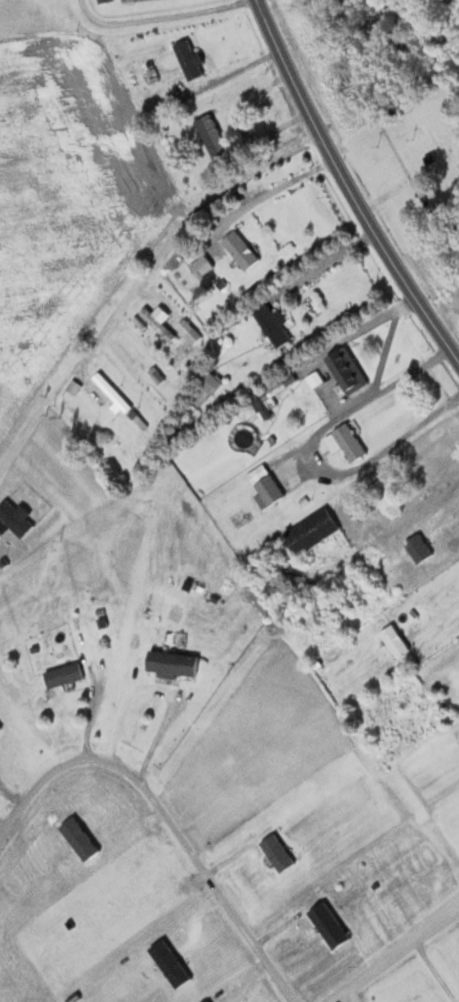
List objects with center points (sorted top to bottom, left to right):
road: (156, 14)
building: (188, 58)
building: (210, 135)
road: (346, 187)
road: (260, 194)
building: (239, 248)
building: (215, 253)
building: (200, 264)
road: (137, 280)
building: (156, 322)
building: (270, 322)
road: (361, 322)
building: (187, 330)
road: (380, 340)
building: (131, 367)
building: (345, 368)
building: (277, 384)
building: (207, 385)
building: (243, 435)
building: (345, 441)
road: (306, 454)
road: (430, 483)
building: (264, 486)
building: (383, 494)
road: (446, 510)
building: (310, 530)
building: (421, 545)
road: (440, 609)
building: (193, 629)
building: (171, 661)
building: (62, 673)
road: (155, 689)
building: (174, 704)
building: (446, 715)
road: (166, 815)
road: (390, 951)
road: (429, 970)

